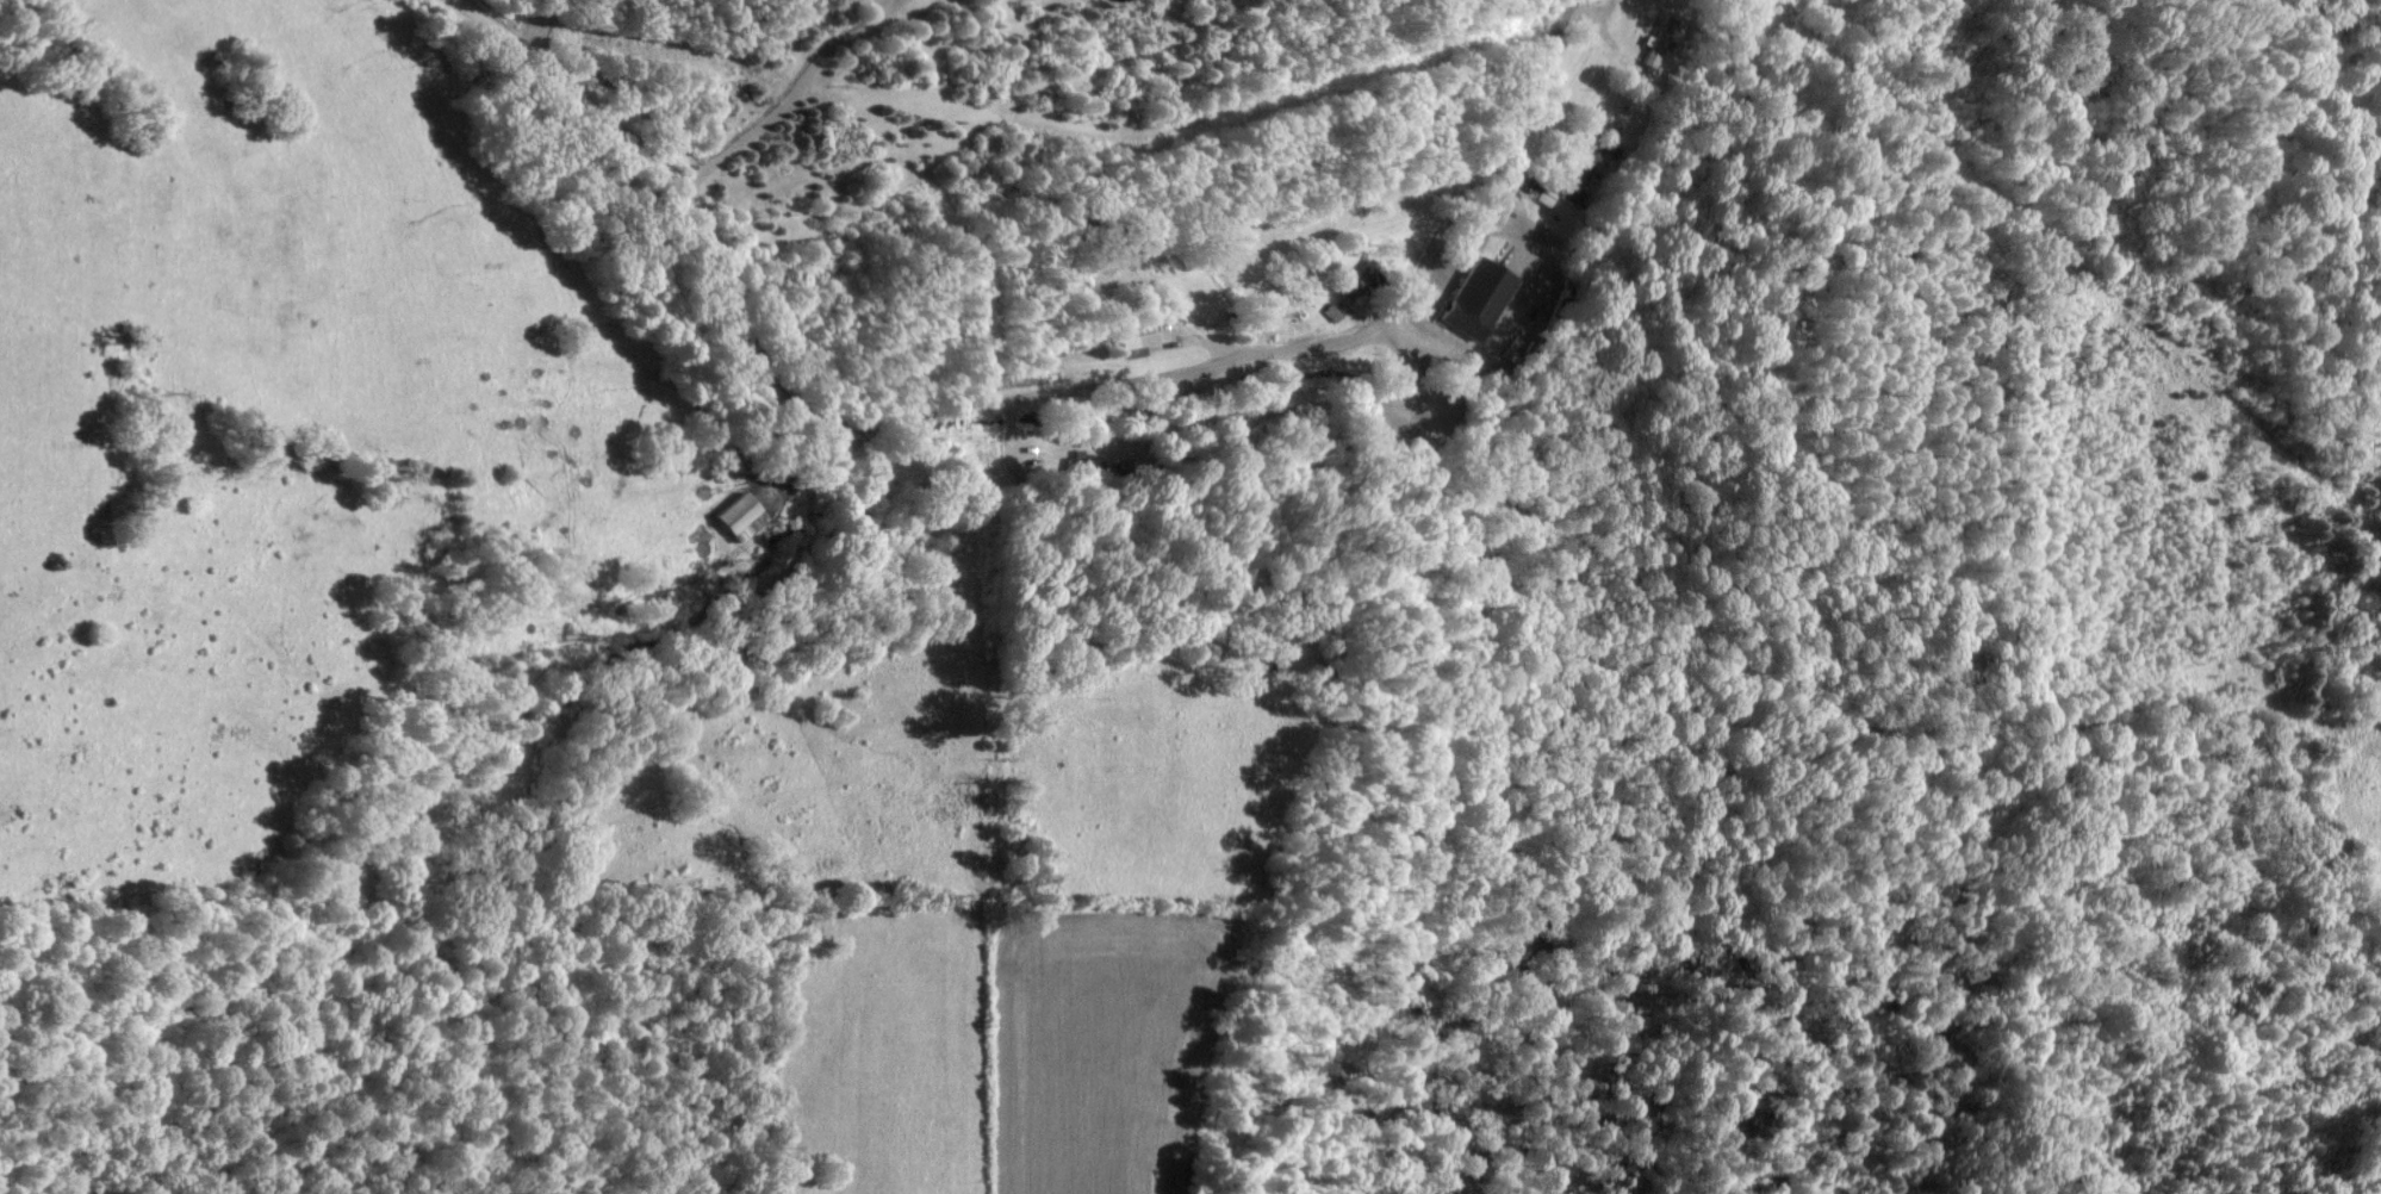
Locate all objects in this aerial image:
building: (1658, 39)
road: (776, 91)
building: (1354, 281)
building: (1475, 297)
building: (1136, 334)
road: (1011, 397)
building: (739, 515)

